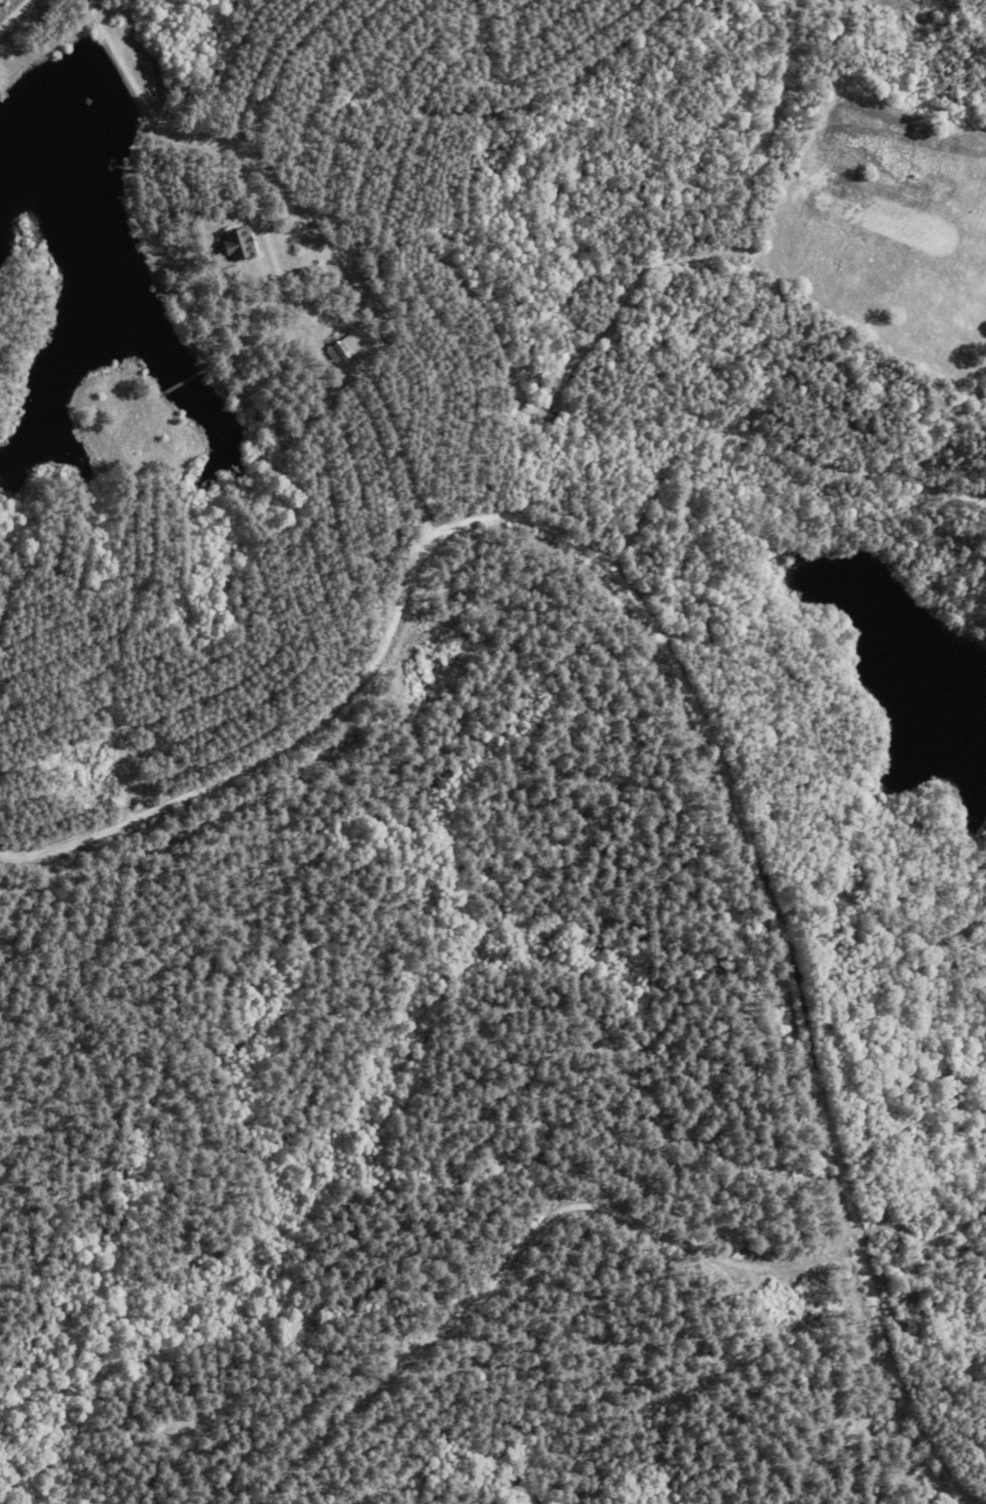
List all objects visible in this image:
road: (16, 17)
building: (239, 242)

